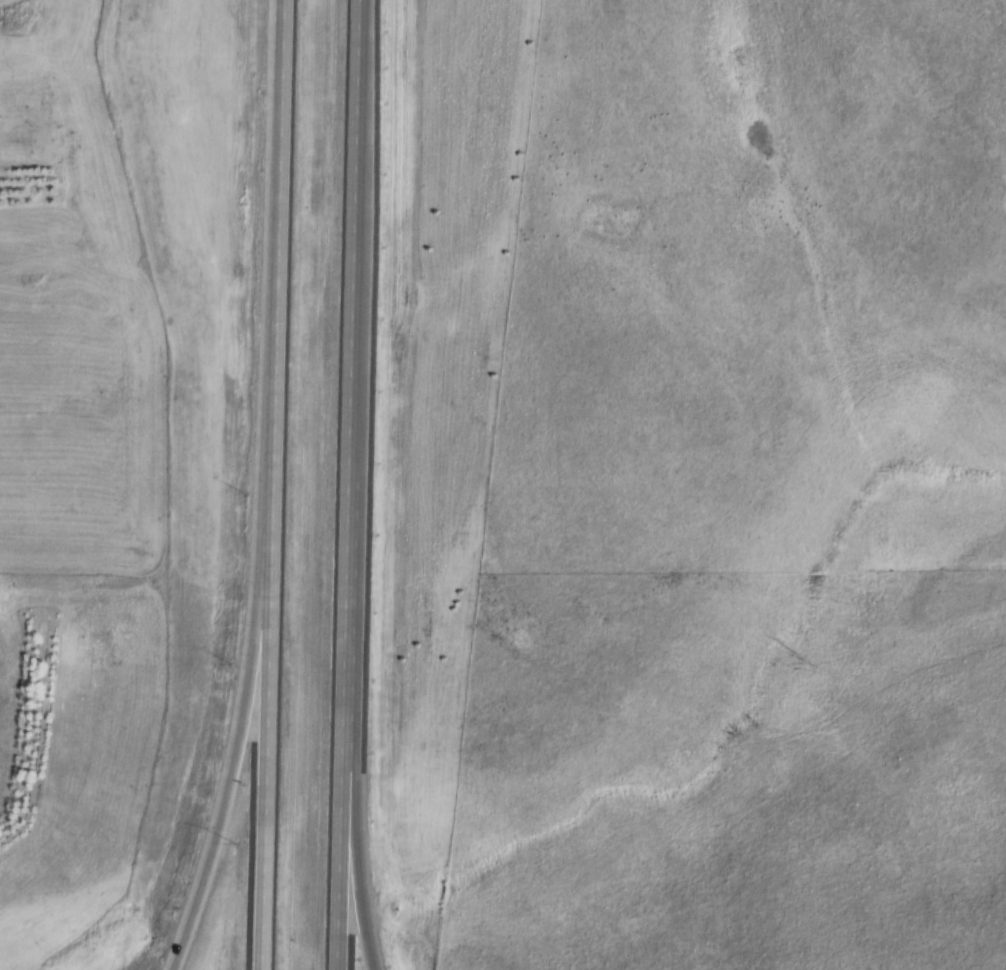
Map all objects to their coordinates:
road: (273, 485)
road: (355, 485)
street lamp: (236, 488)
street lamp: (227, 662)
road: (237, 744)
street lamp: (236, 841)
road: (357, 859)

